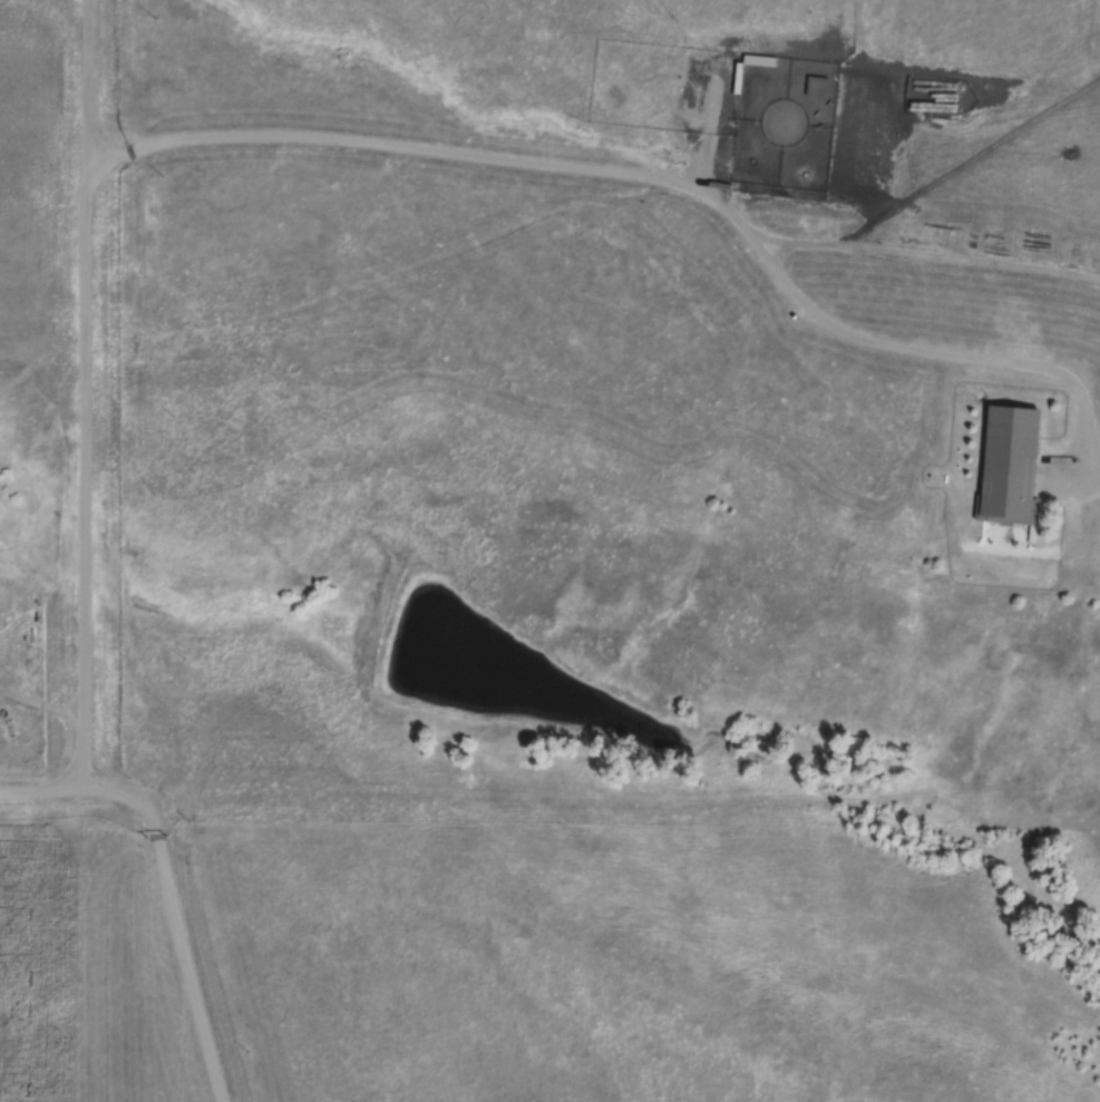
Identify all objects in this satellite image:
building: (694, 87)
building: (1004, 466)
road: (82, 574)
road: (48, 788)

